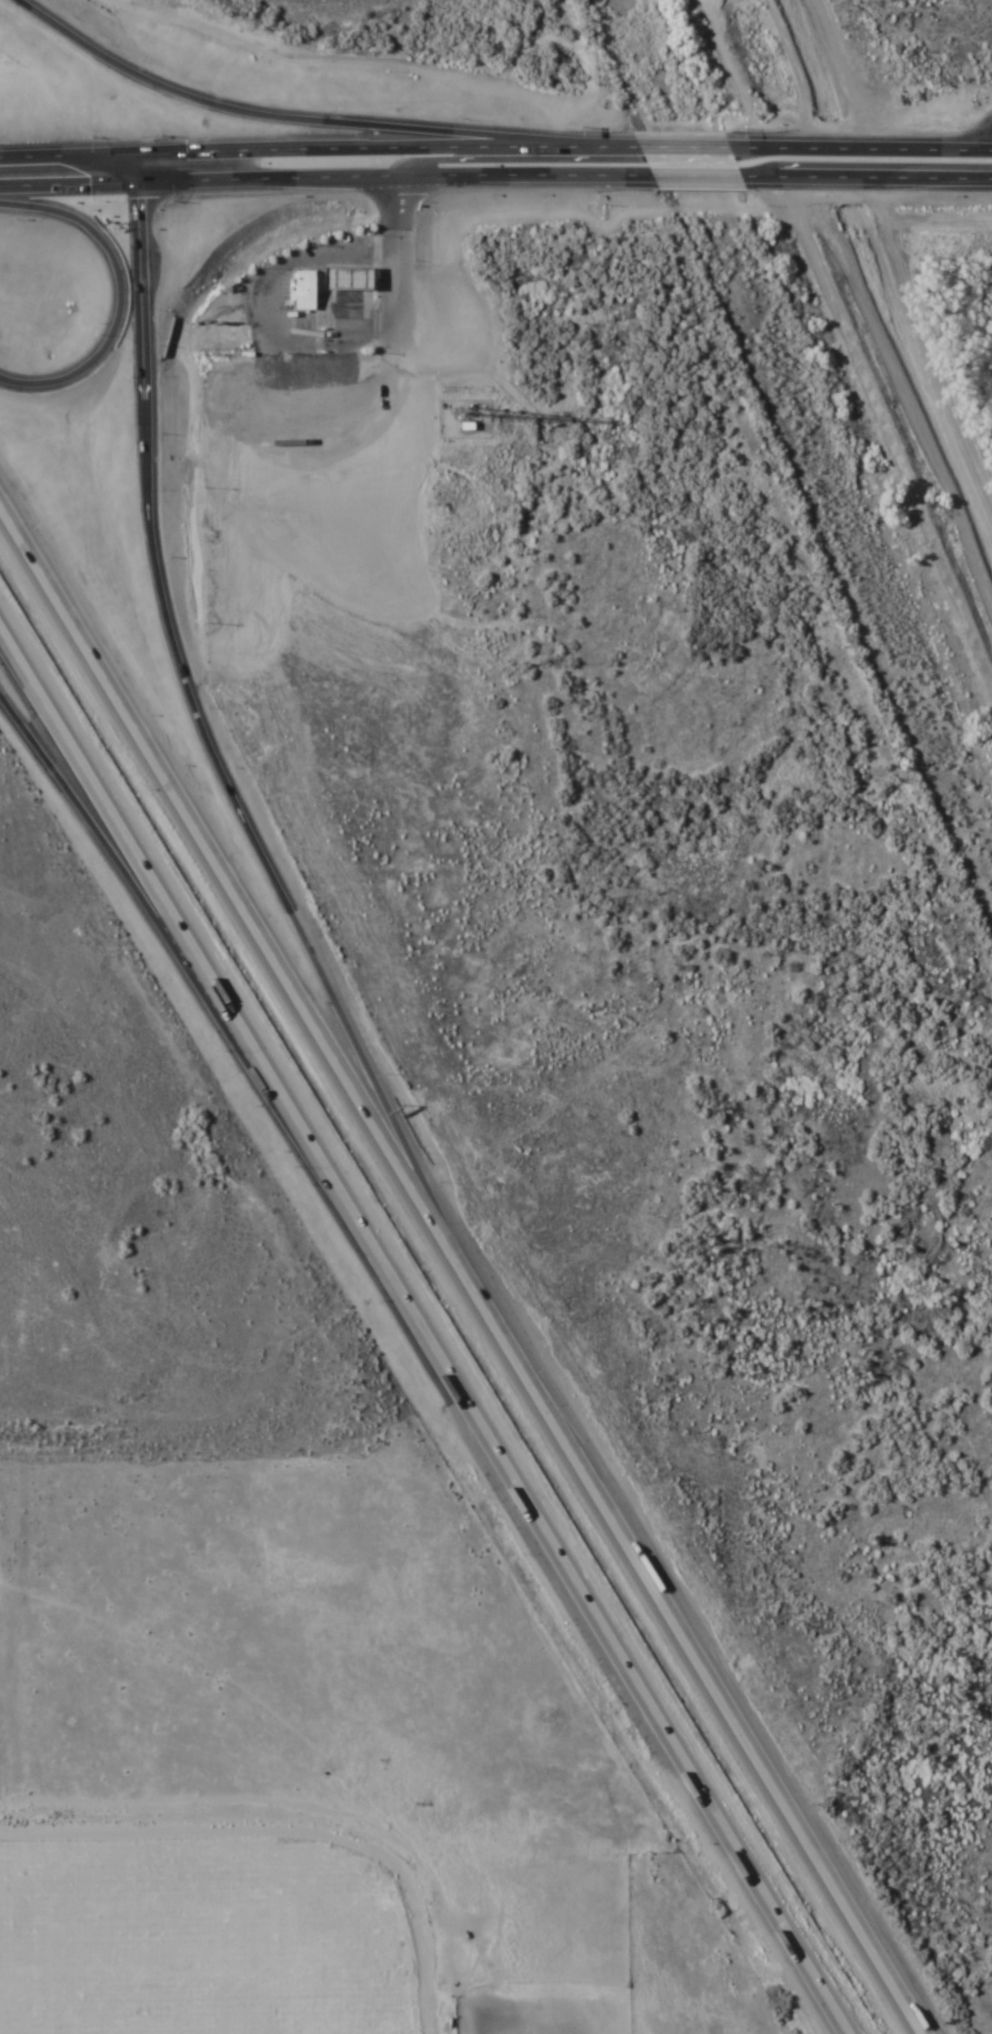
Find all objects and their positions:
road: (357, 61)
road: (121, 70)
road: (378, 126)
road: (684, 150)
road: (421, 151)
road: (860, 153)
traffic signals: (234, 154)
road: (101, 157)
road: (202, 168)
road: (429, 174)
road: (699, 181)
road: (867, 182)
traffic signals: (176, 183)
road: (101, 185)
traffic signals: (202, 198)
road: (243, 199)
road: (200, 218)
road: (396, 259)
building: (348, 280)
building: (302, 291)
road: (908, 383)
road: (157, 638)
road: (67, 795)
road: (227, 865)
crop: (763, 993)
road: (401, 1123)
road: (426, 1324)
crop: (281, 1575)
road: (693, 1640)
road: (258, 1881)

